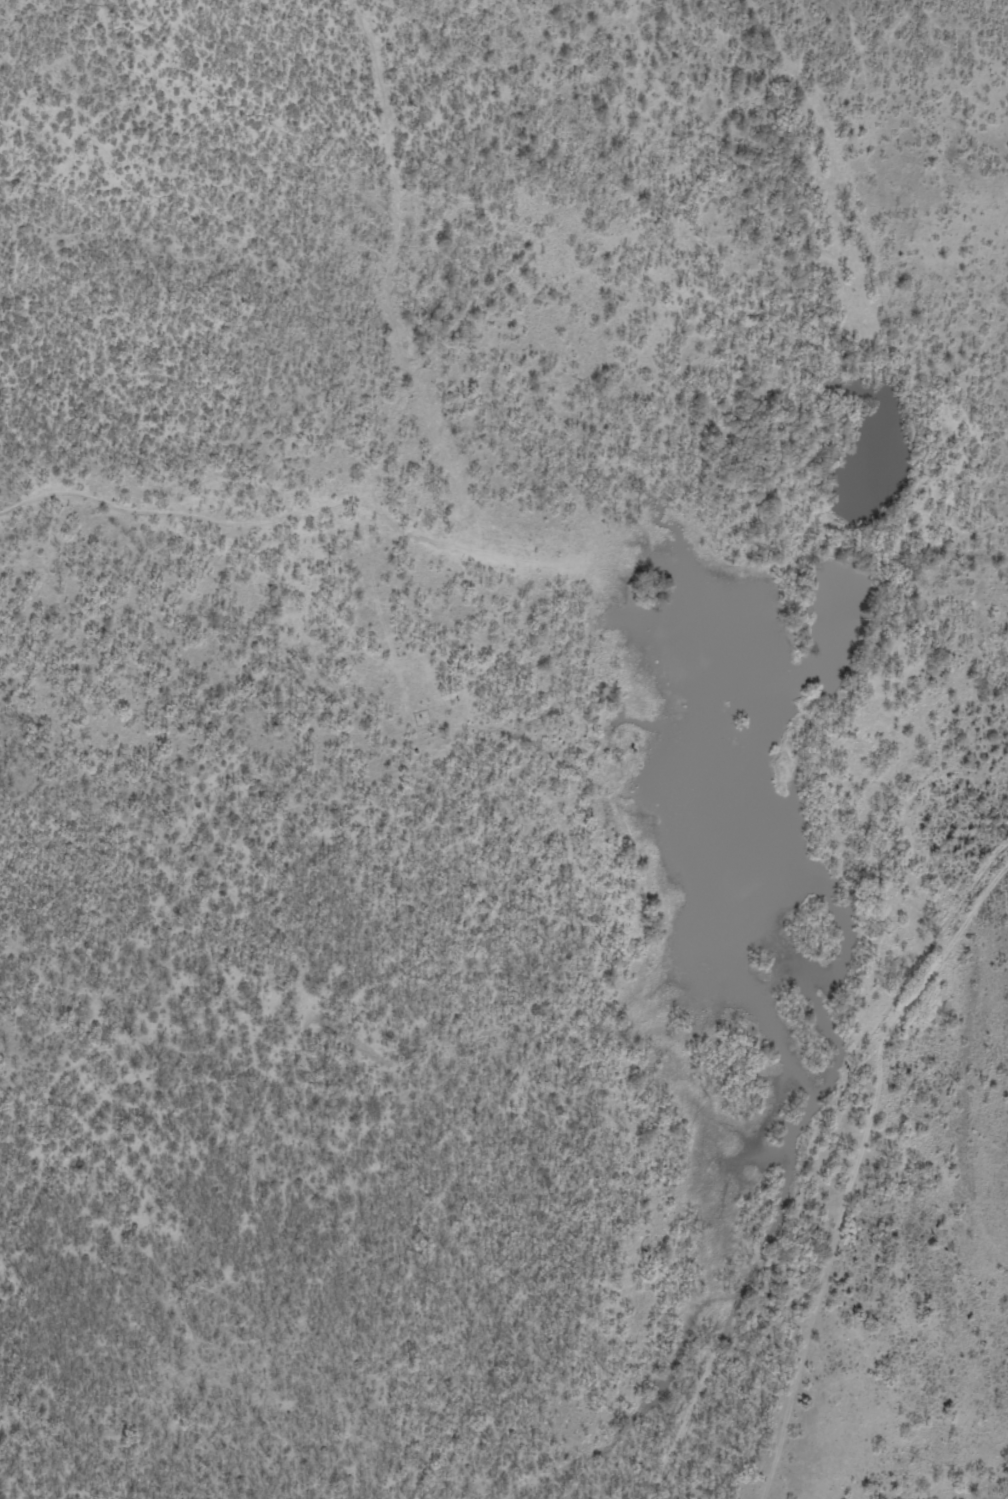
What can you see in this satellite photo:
road: (272, 1036)

